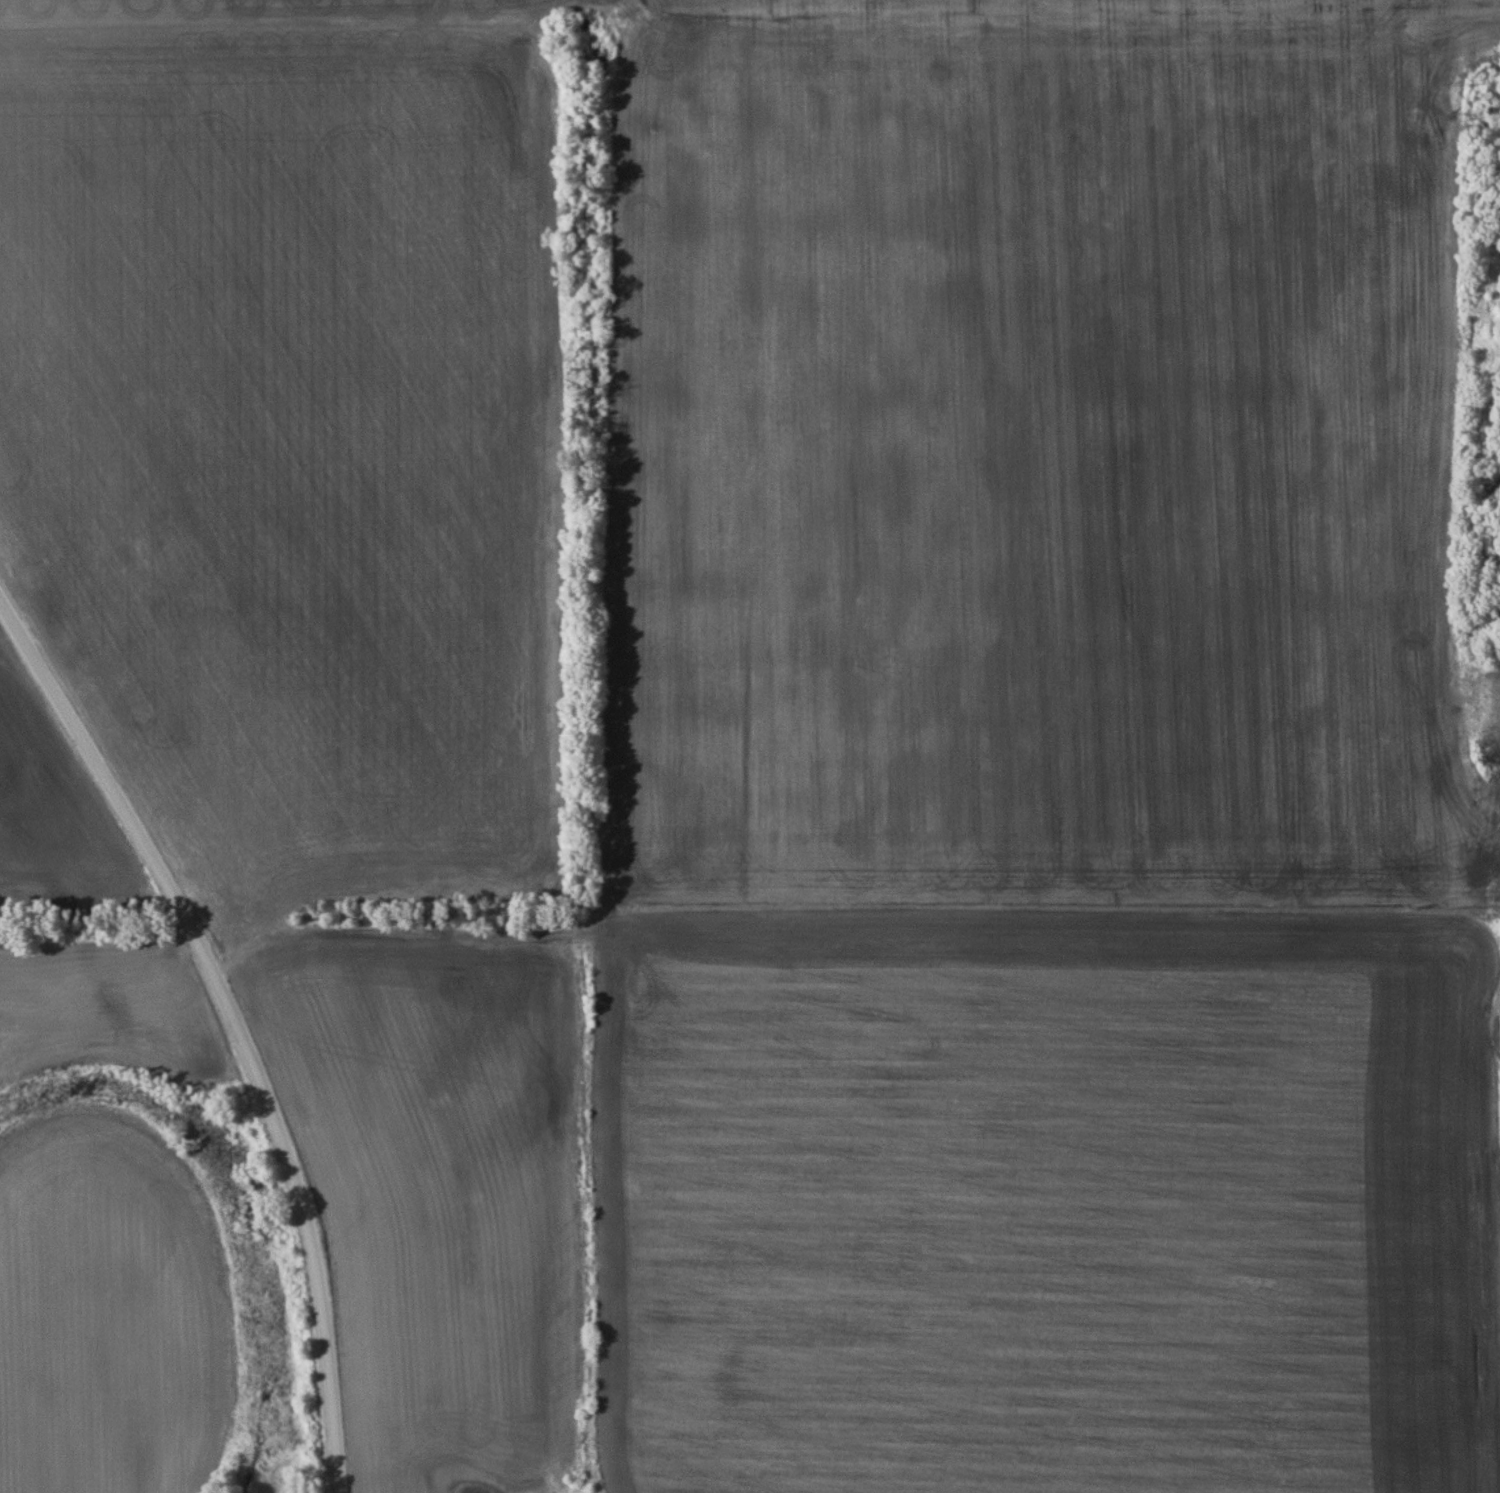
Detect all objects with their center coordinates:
road: (233, 1023)

